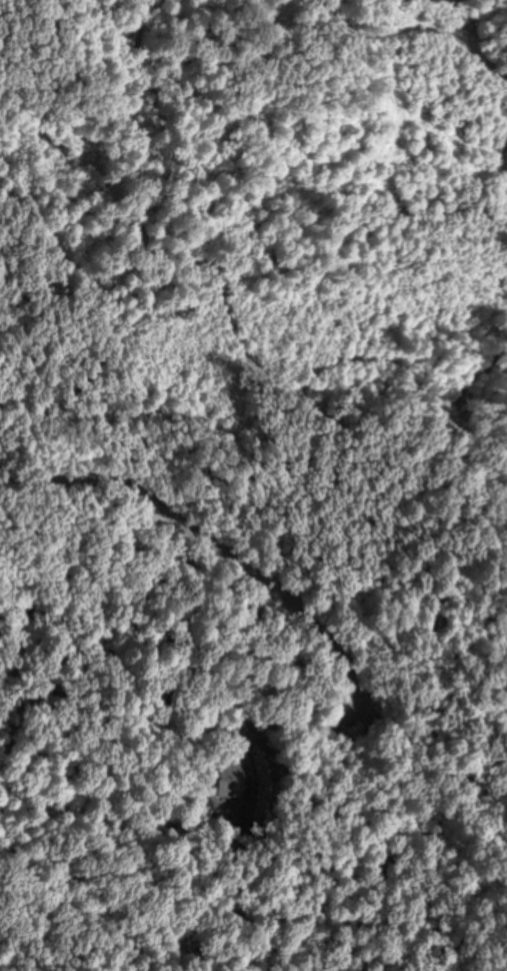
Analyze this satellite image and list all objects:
building: (365, 730)
building: (230, 776)

